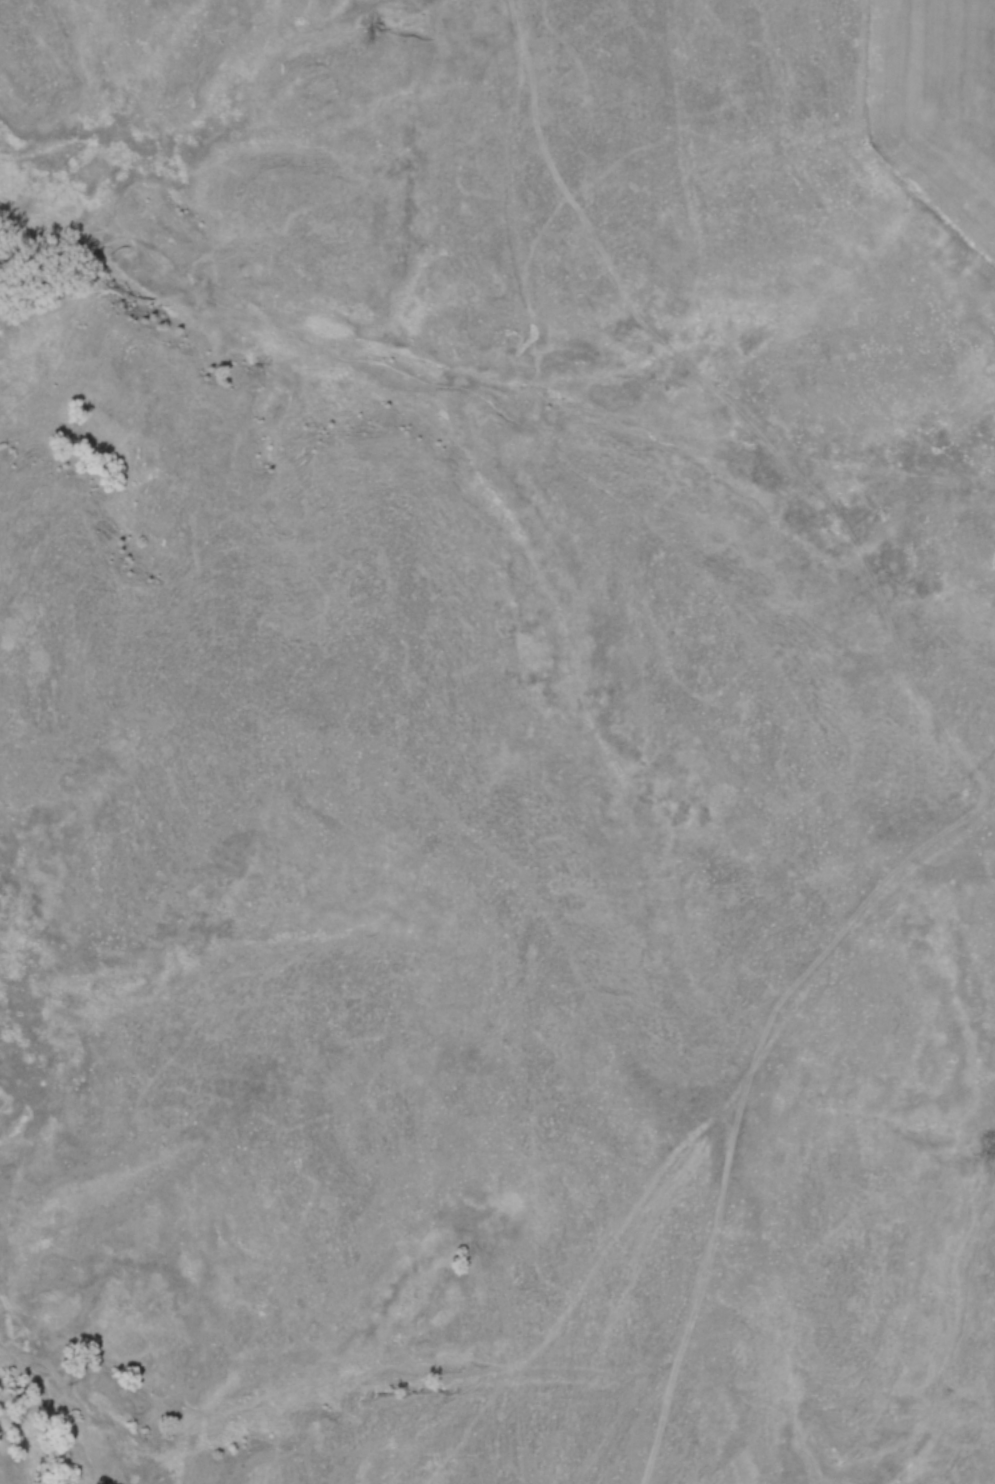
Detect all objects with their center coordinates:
crop: (939, 101)

